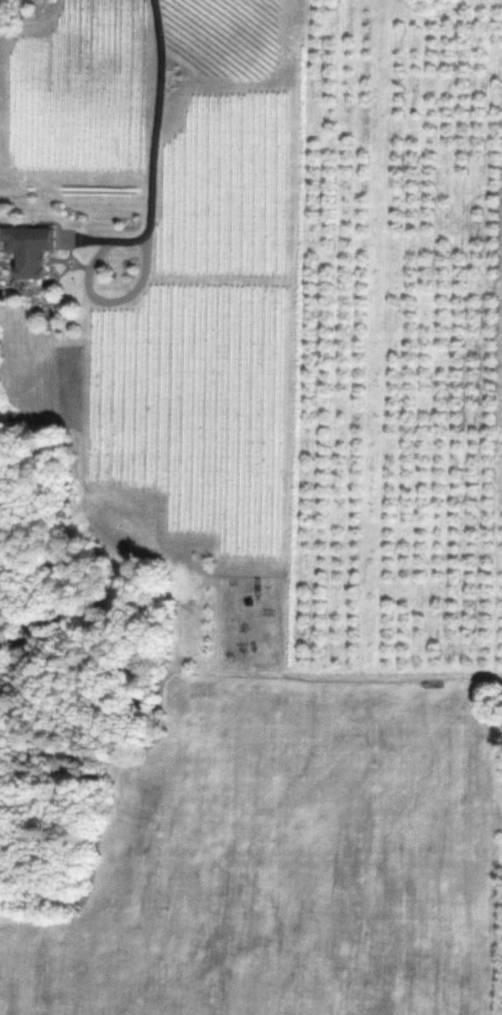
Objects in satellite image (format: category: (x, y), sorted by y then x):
road: (154, 159)
building: (26, 248)

